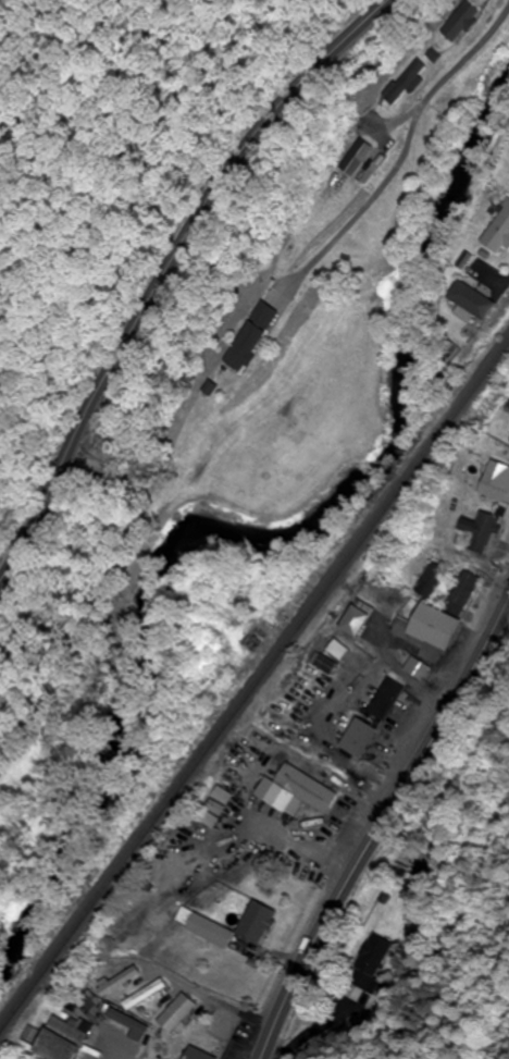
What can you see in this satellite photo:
building: (462, 22)
road: (413, 120)
building: (500, 234)
road: (162, 270)
road: (507, 284)
building: (477, 300)
building: (253, 335)
building: (497, 482)
building: (484, 530)
river: (263, 537)
building: (434, 579)
building: (448, 615)
building: (361, 620)
building: (328, 664)
building: (417, 667)
railway: (253, 685)
building: (386, 698)
building: (361, 737)
building: (235, 784)
building: (299, 788)
road: (377, 823)
building: (259, 922)
building: (207, 927)
building: (372, 961)
building: (147, 994)
building: (178, 1012)
building: (133, 1024)
building: (67, 1039)
building: (190, 1051)

